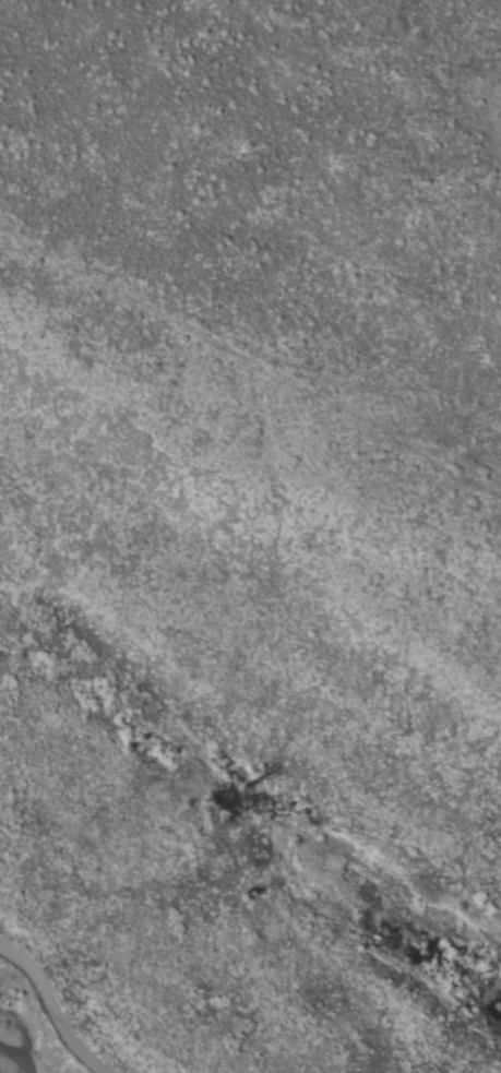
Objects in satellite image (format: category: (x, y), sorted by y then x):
road: (49, 1011)

